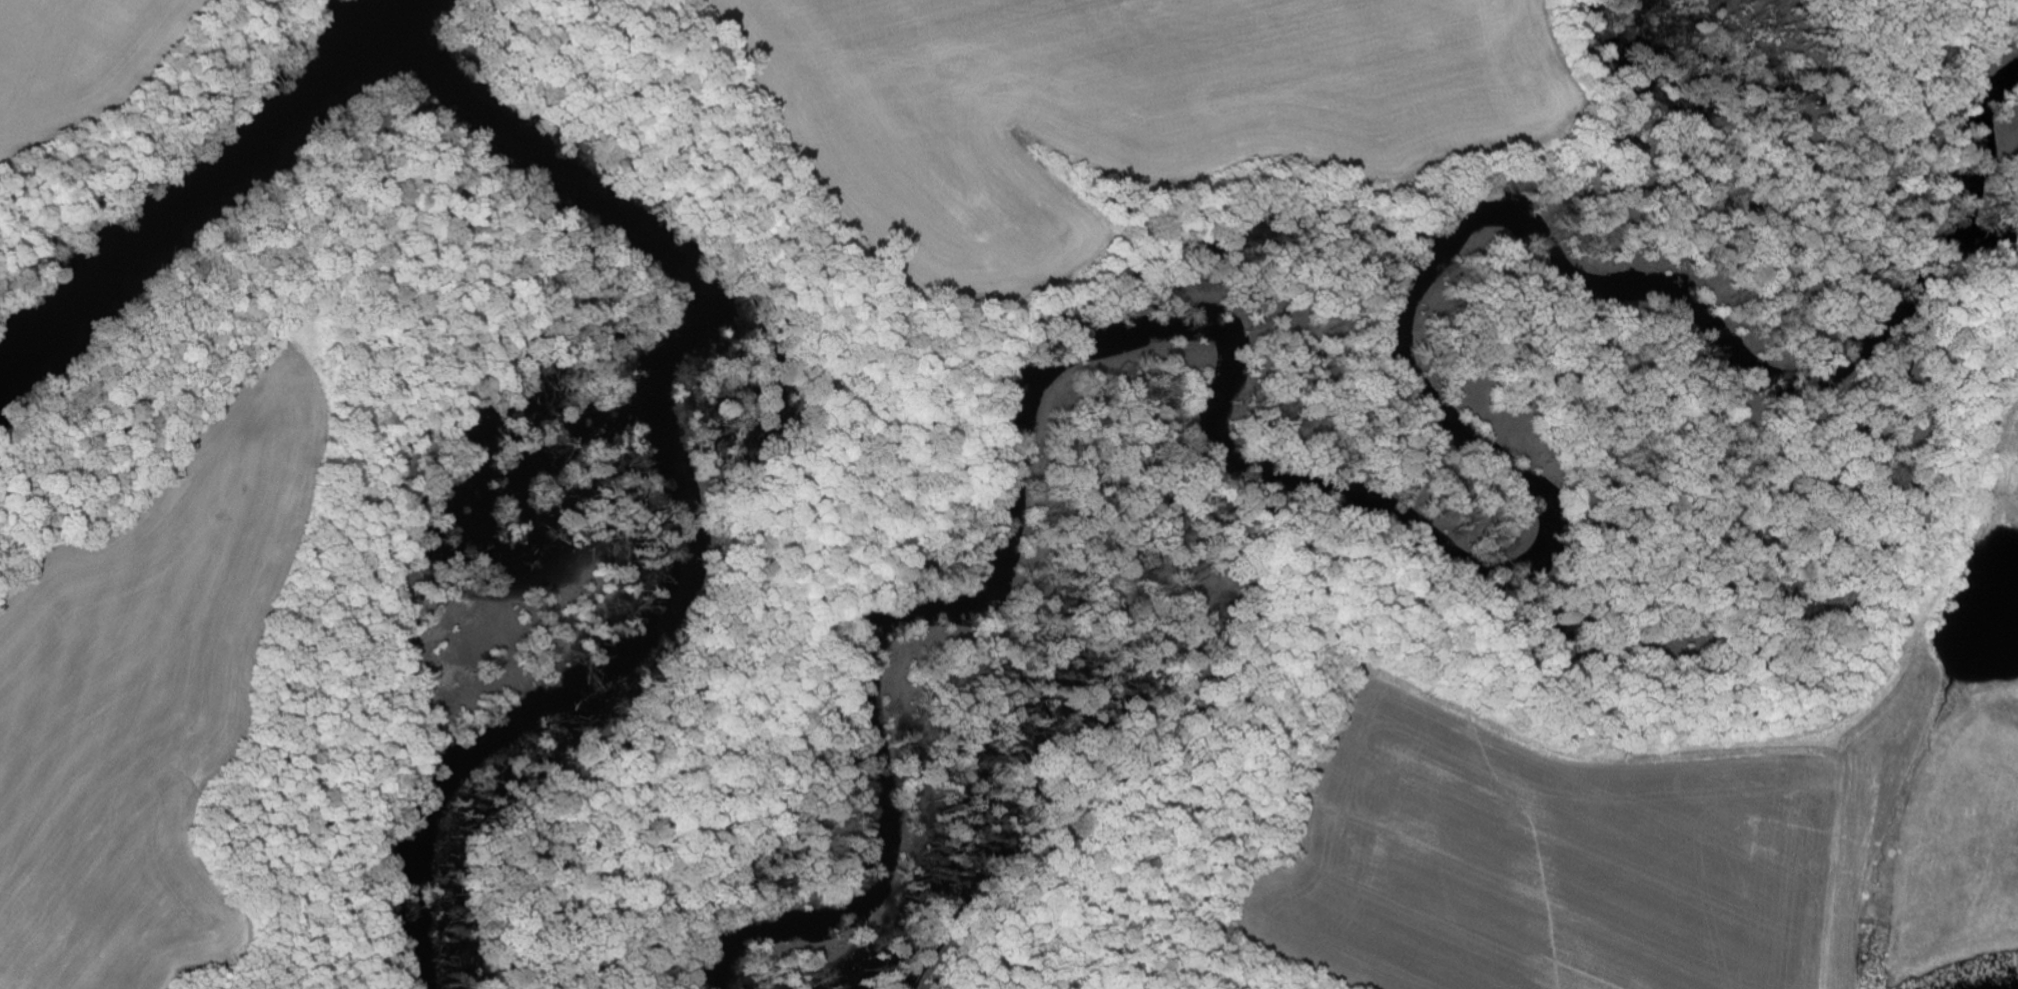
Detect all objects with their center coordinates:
river: (199, 188)
river: (677, 477)
river: (1428, 543)
road: (25, 964)

